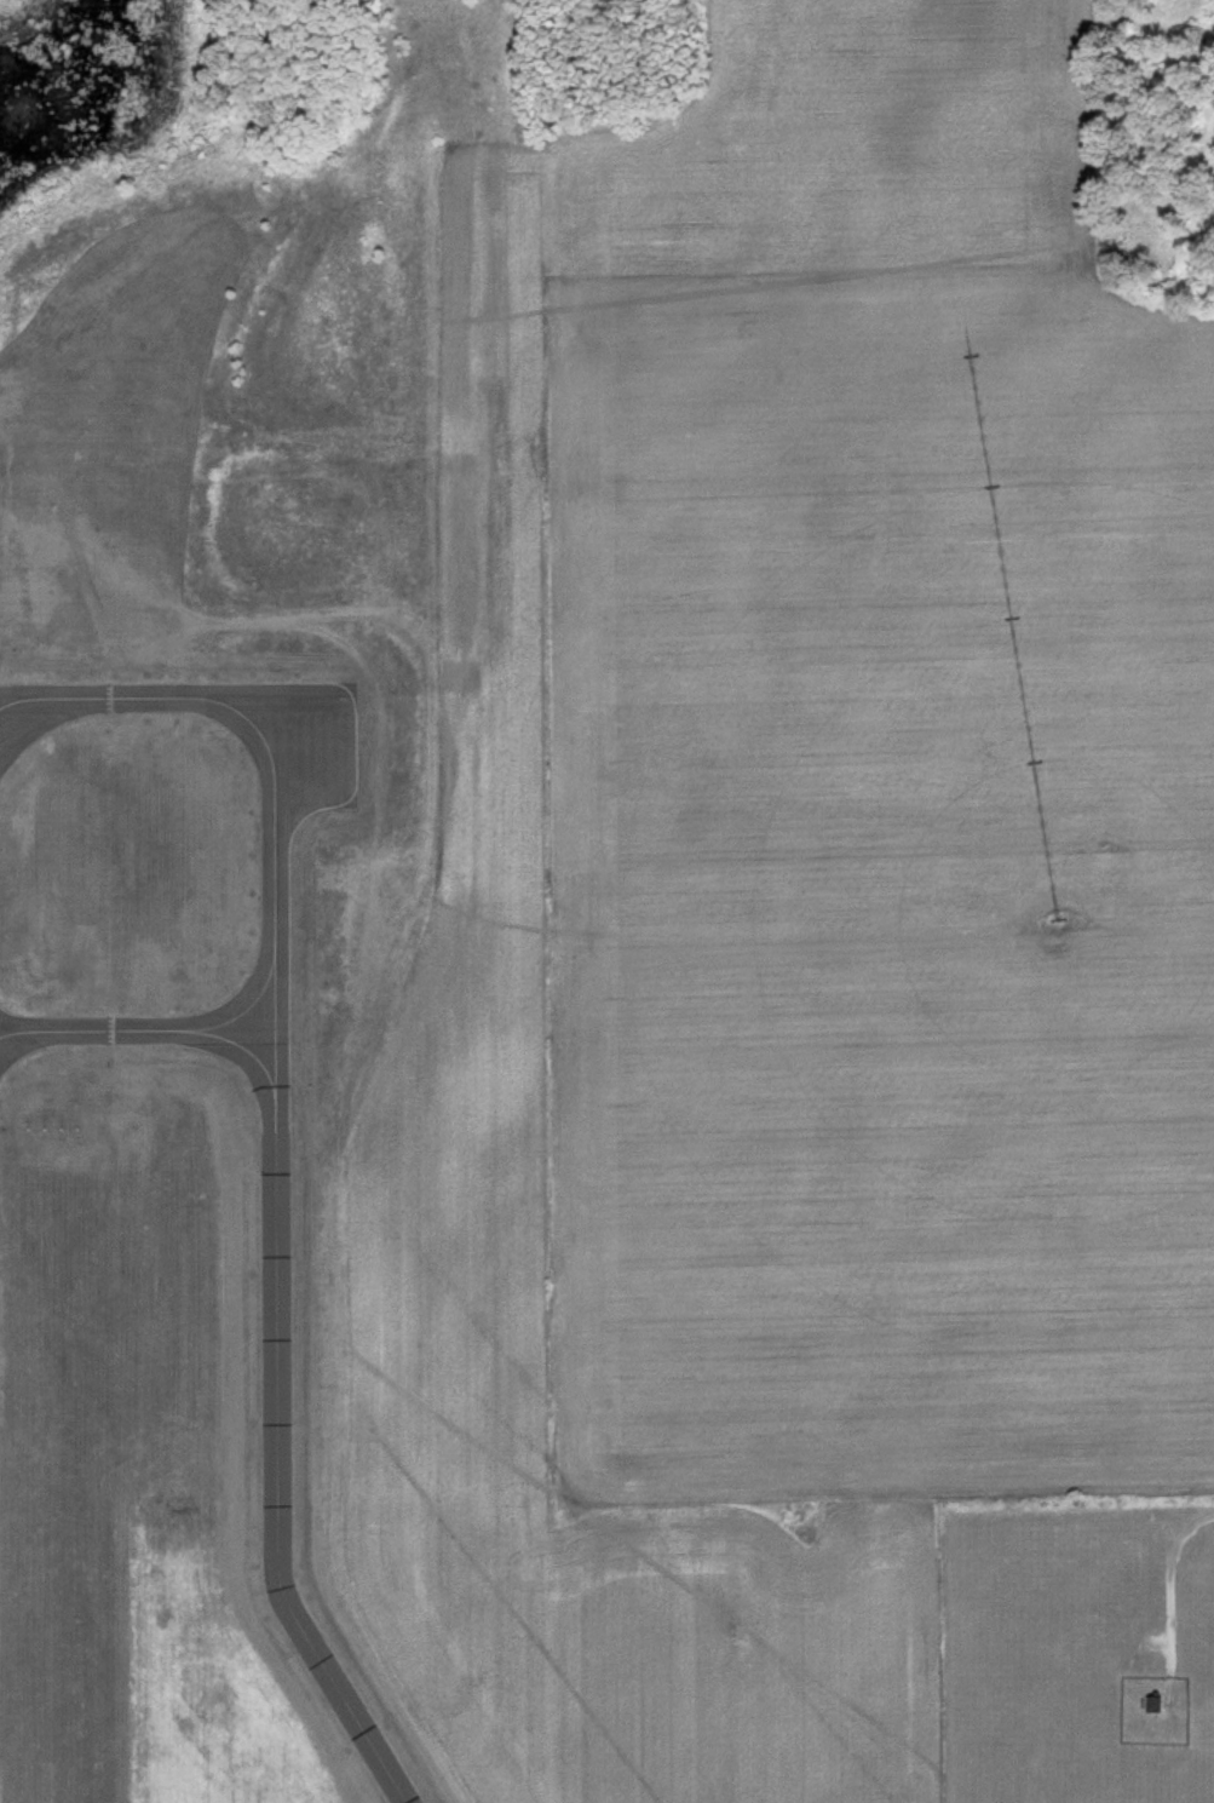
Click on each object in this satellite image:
crop: (787, 934)
airport taxiway: (240, 1014)
airport taxiway: (90, 1032)
airport taxiway: (238, 1047)
airport taxiway: (272, 1149)
road: (1173, 1578)

